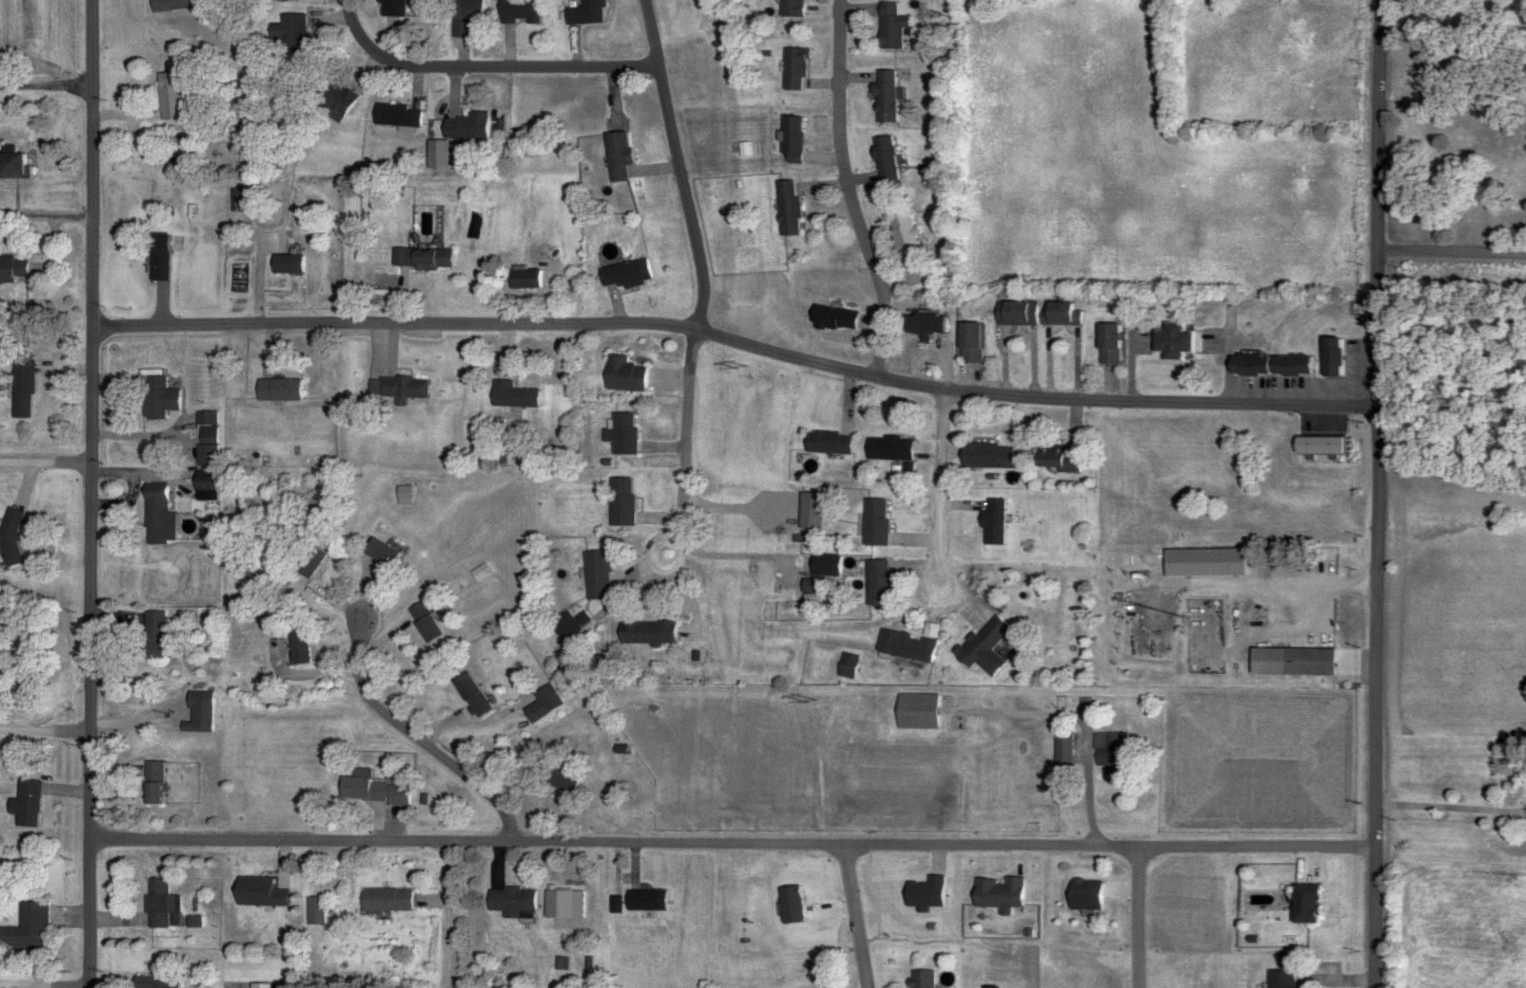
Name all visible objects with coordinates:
building: (167, 5)
building: (388, 8)
building: (789, 8)
building: (515, 11)
building: (582, 12)
building: (463, 16)
building: (888, 26)
building: (286, 34)
road: (483, 67)
building: (792, 69)
road: (47, 87)
building: (167, 96)
building: (331, 97)
building: (883, 97)
building: (395, 116)
building: (463, 127)
building: (790, 140)
building: (615, 157)
building: (882, 159)
building: (16, 163)
road: (679, 166)
road: (848, 191)
building: (786, 209)
road: (47, 217)
building: (903, 238)
road: (1452, 255)
building: (155, 258)
building: (420, 258)
building: (284, 264)
building: (15, 270)
building: (623, 274)
building: (522, 279)
building: (1013, 314)
building: (1058, 314)
building: (833, 319)
building: (922, 324)
building: (1170, 341)
road: (739, 343)
building: (968, 343)
building: (1105, 344)
building: (1332, 358)
building: (1268, 366)
building: (621, 375)
building: (23, 389)
building: (400, 389)
building: (275, 390)
building: (510, 396)
building: (156, 398)
road: (688, 419)
building: (619, 434)
building: (204, 439)
building: (826, 443)
building: (1316, 446)
building: (887, 449)
road: (190, 453)
building: (985, 456)
building: (1054, 459)
road: (46, 466)
road: (942, 489)
road: (1379, 493)
road: (92, 494)
building: (618, 502)
road: (741, 511)
building: (807, 511)
building: (155, 516)
building: (992, 522)
building: (873, 523)
road: (682, 534)
building: (13, 536)
building: (378, 553)
road: (745, 555)
road: (650, 558)
building: (306, 562)
building: (1204, 563)
building: (856, 574)
building: (594, 575)
building: (421, 622)
building: (566, 625)
building: (645, 633)
building: (152, 636)
building: (904, 647)
building: (982, 647)
building: (296, 650)
building: (1289, 663)
building: (468, 693)
road: (584, 693)
building: (545, 698)
building: (915, 711)
building: (197, 713)
road: (148, 725)
road: (45, 731)
road: (418, 739)
building: (1061, 749)
building: (1109, 753)
building: (556, 778)
building: (151, 783)
building: (359, 790)
building: (29, 804)
road: (1451, 809)
road: (598, 843)
road: (1241, 847)
building: (997, 895)
building: (1081, 895)
building: (383, 900)
building: (639, 901)
building: (509, 903)
building: (157, 904)
building: (556, 904)
building: (1303, 904)
building: (789, 905)
building: (312, 911)
road: (454, 914)
road: (853, 917)
road: (1137, 918)
building: (30, 929)
building: (1279, 978)
building: (920, 980)
building: (150, 983)
building: (256, 986)
road: (70, 987)

